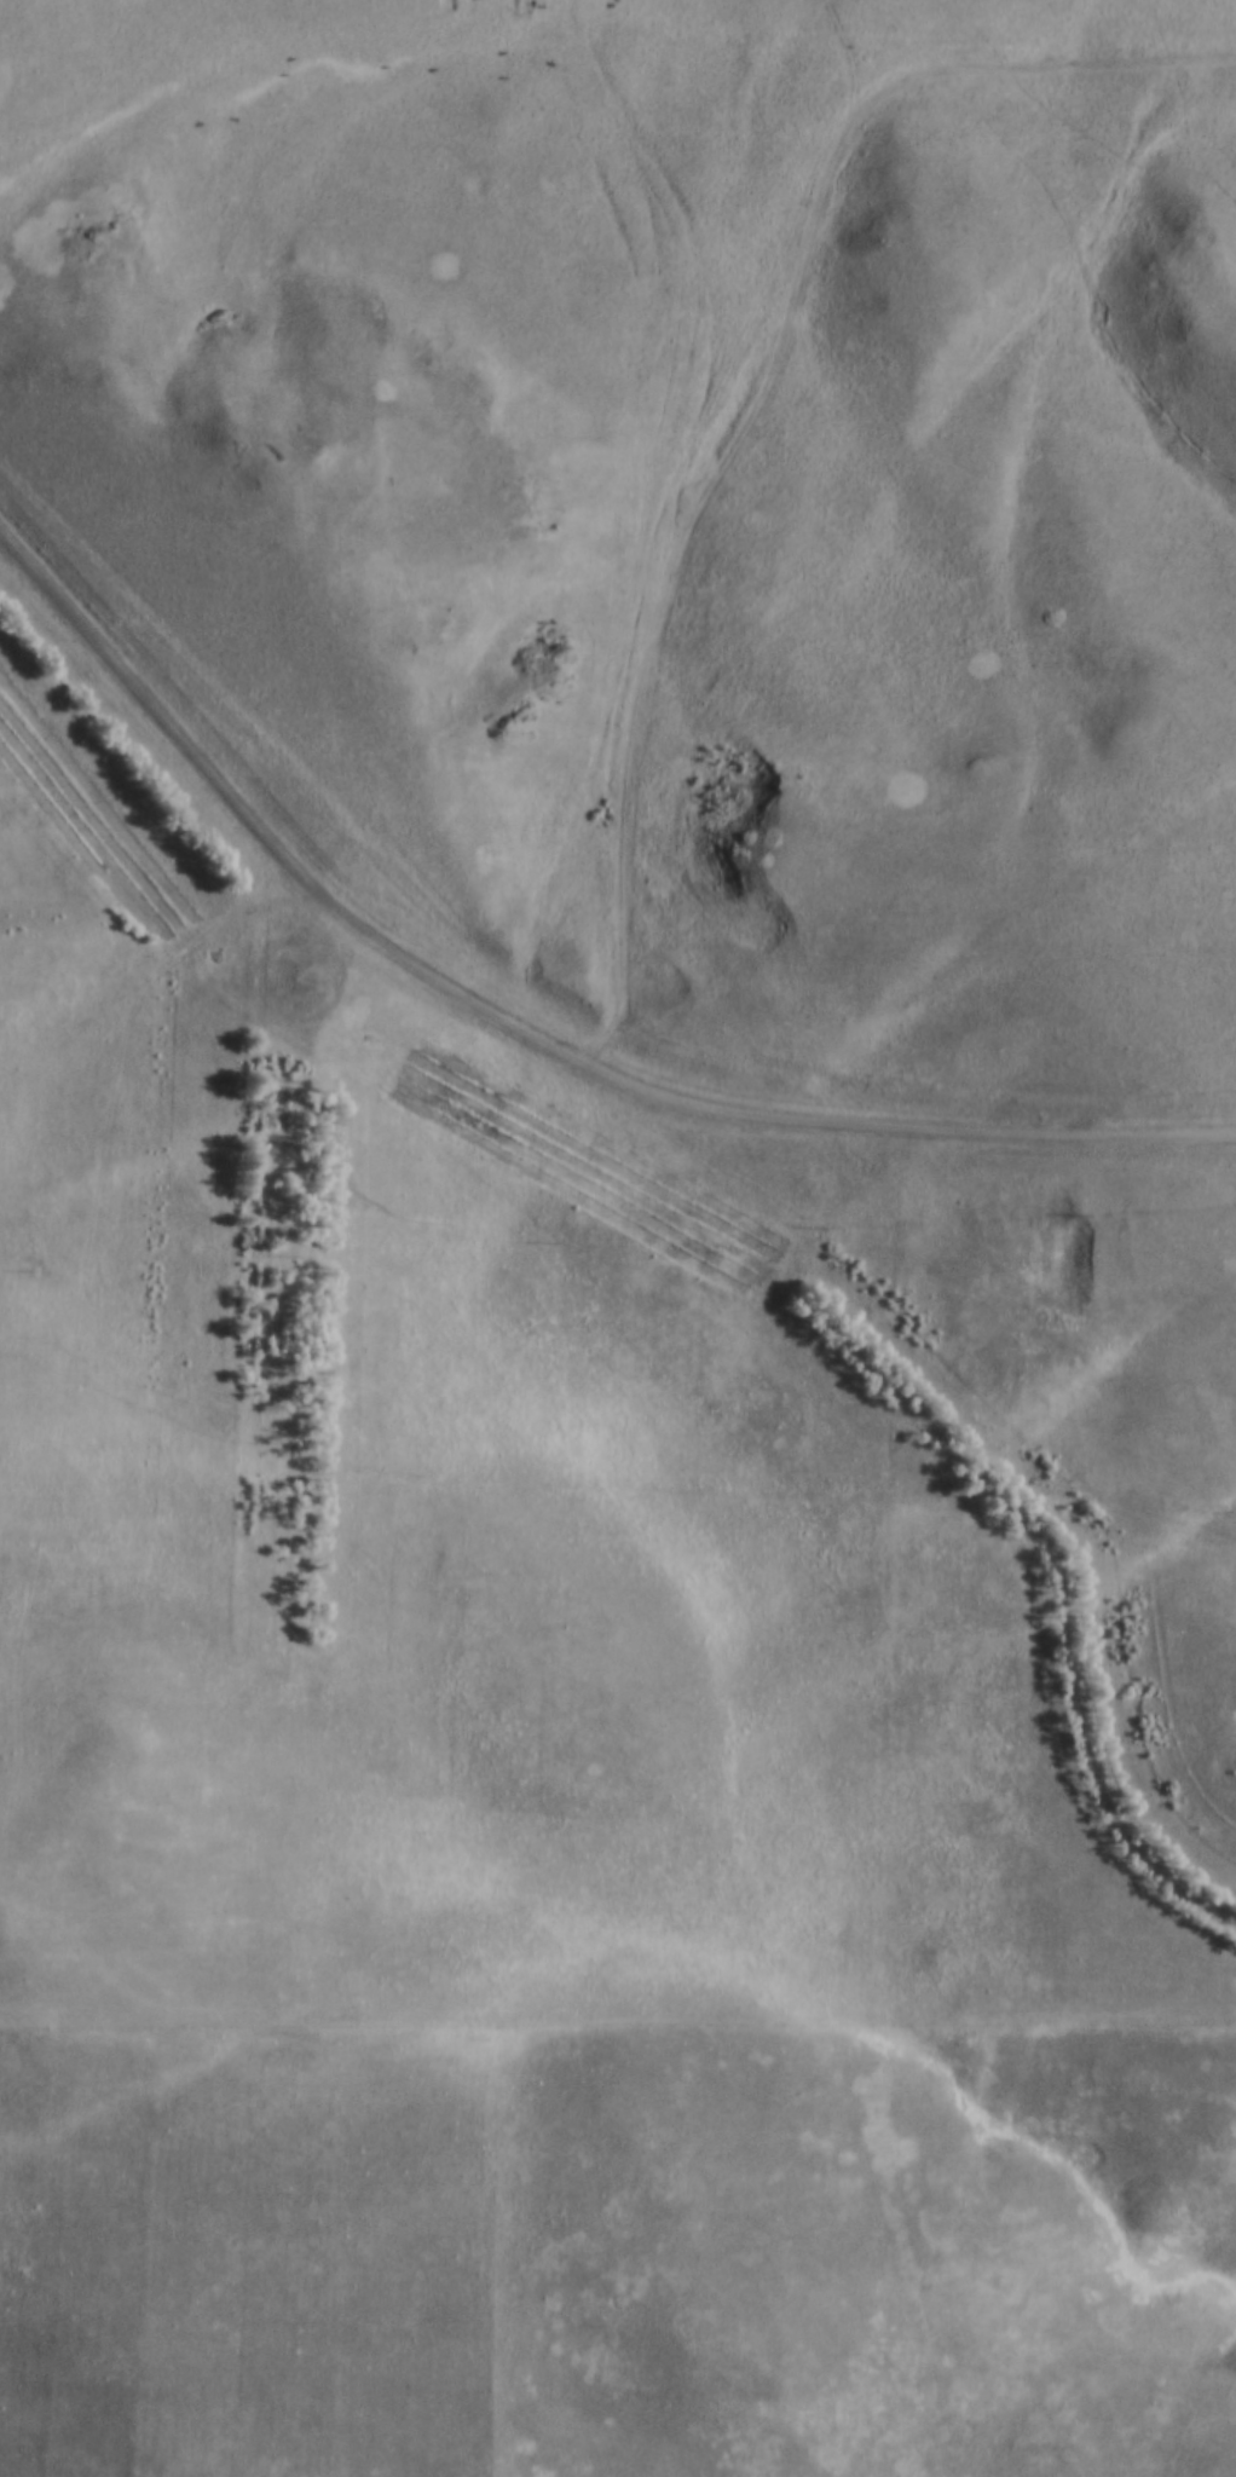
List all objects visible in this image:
road: (525, 1026)

